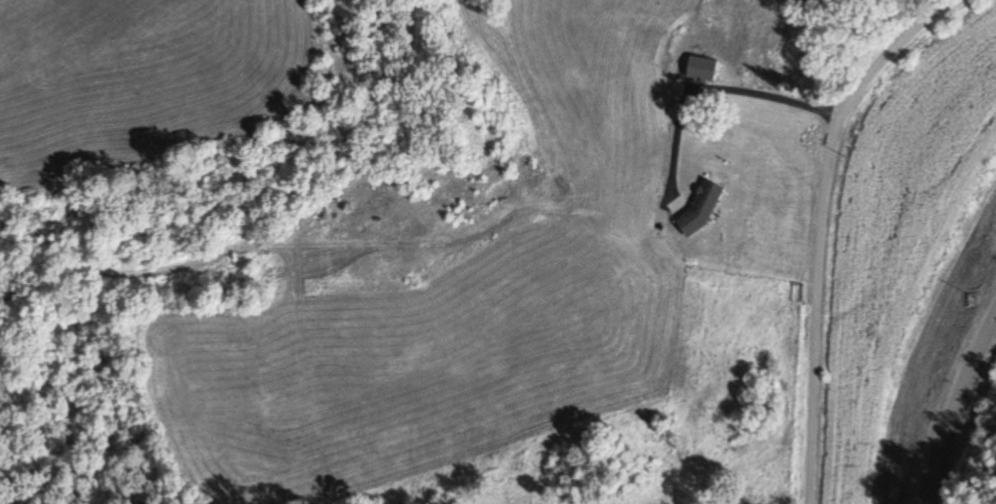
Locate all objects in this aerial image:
building: (701, 68)
building: (733, 73)
building: (768, 119)
building: (697, 196)
road: (820, 223)
road: (961, 410)

